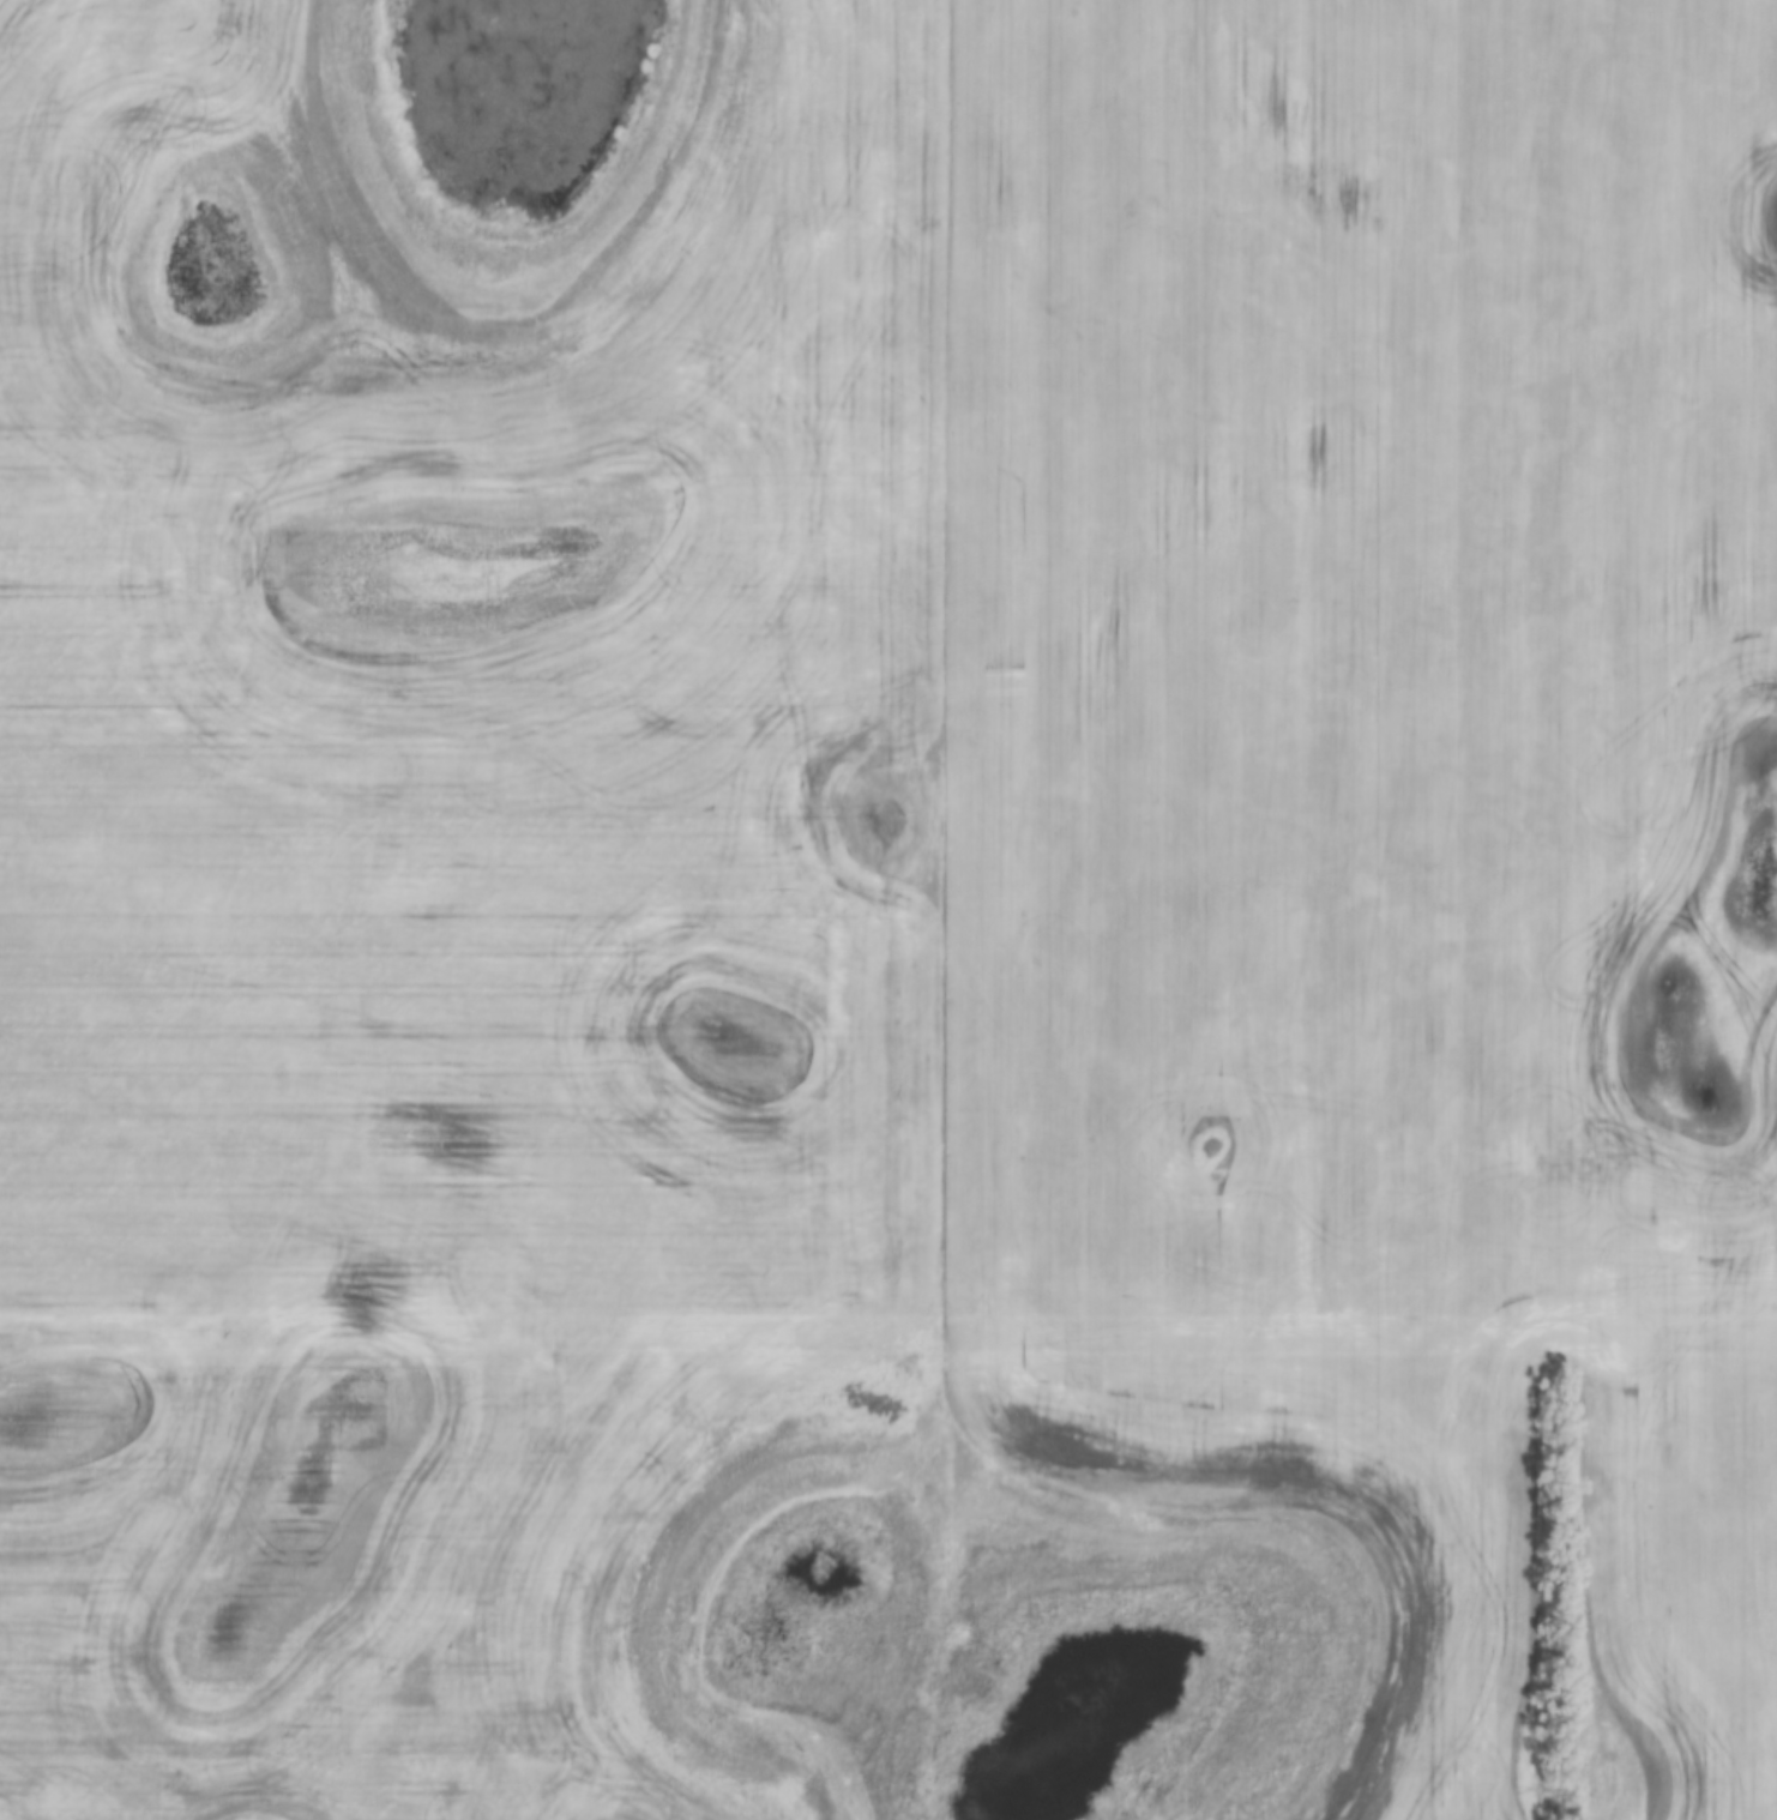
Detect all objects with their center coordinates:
road: (887, 1331)

